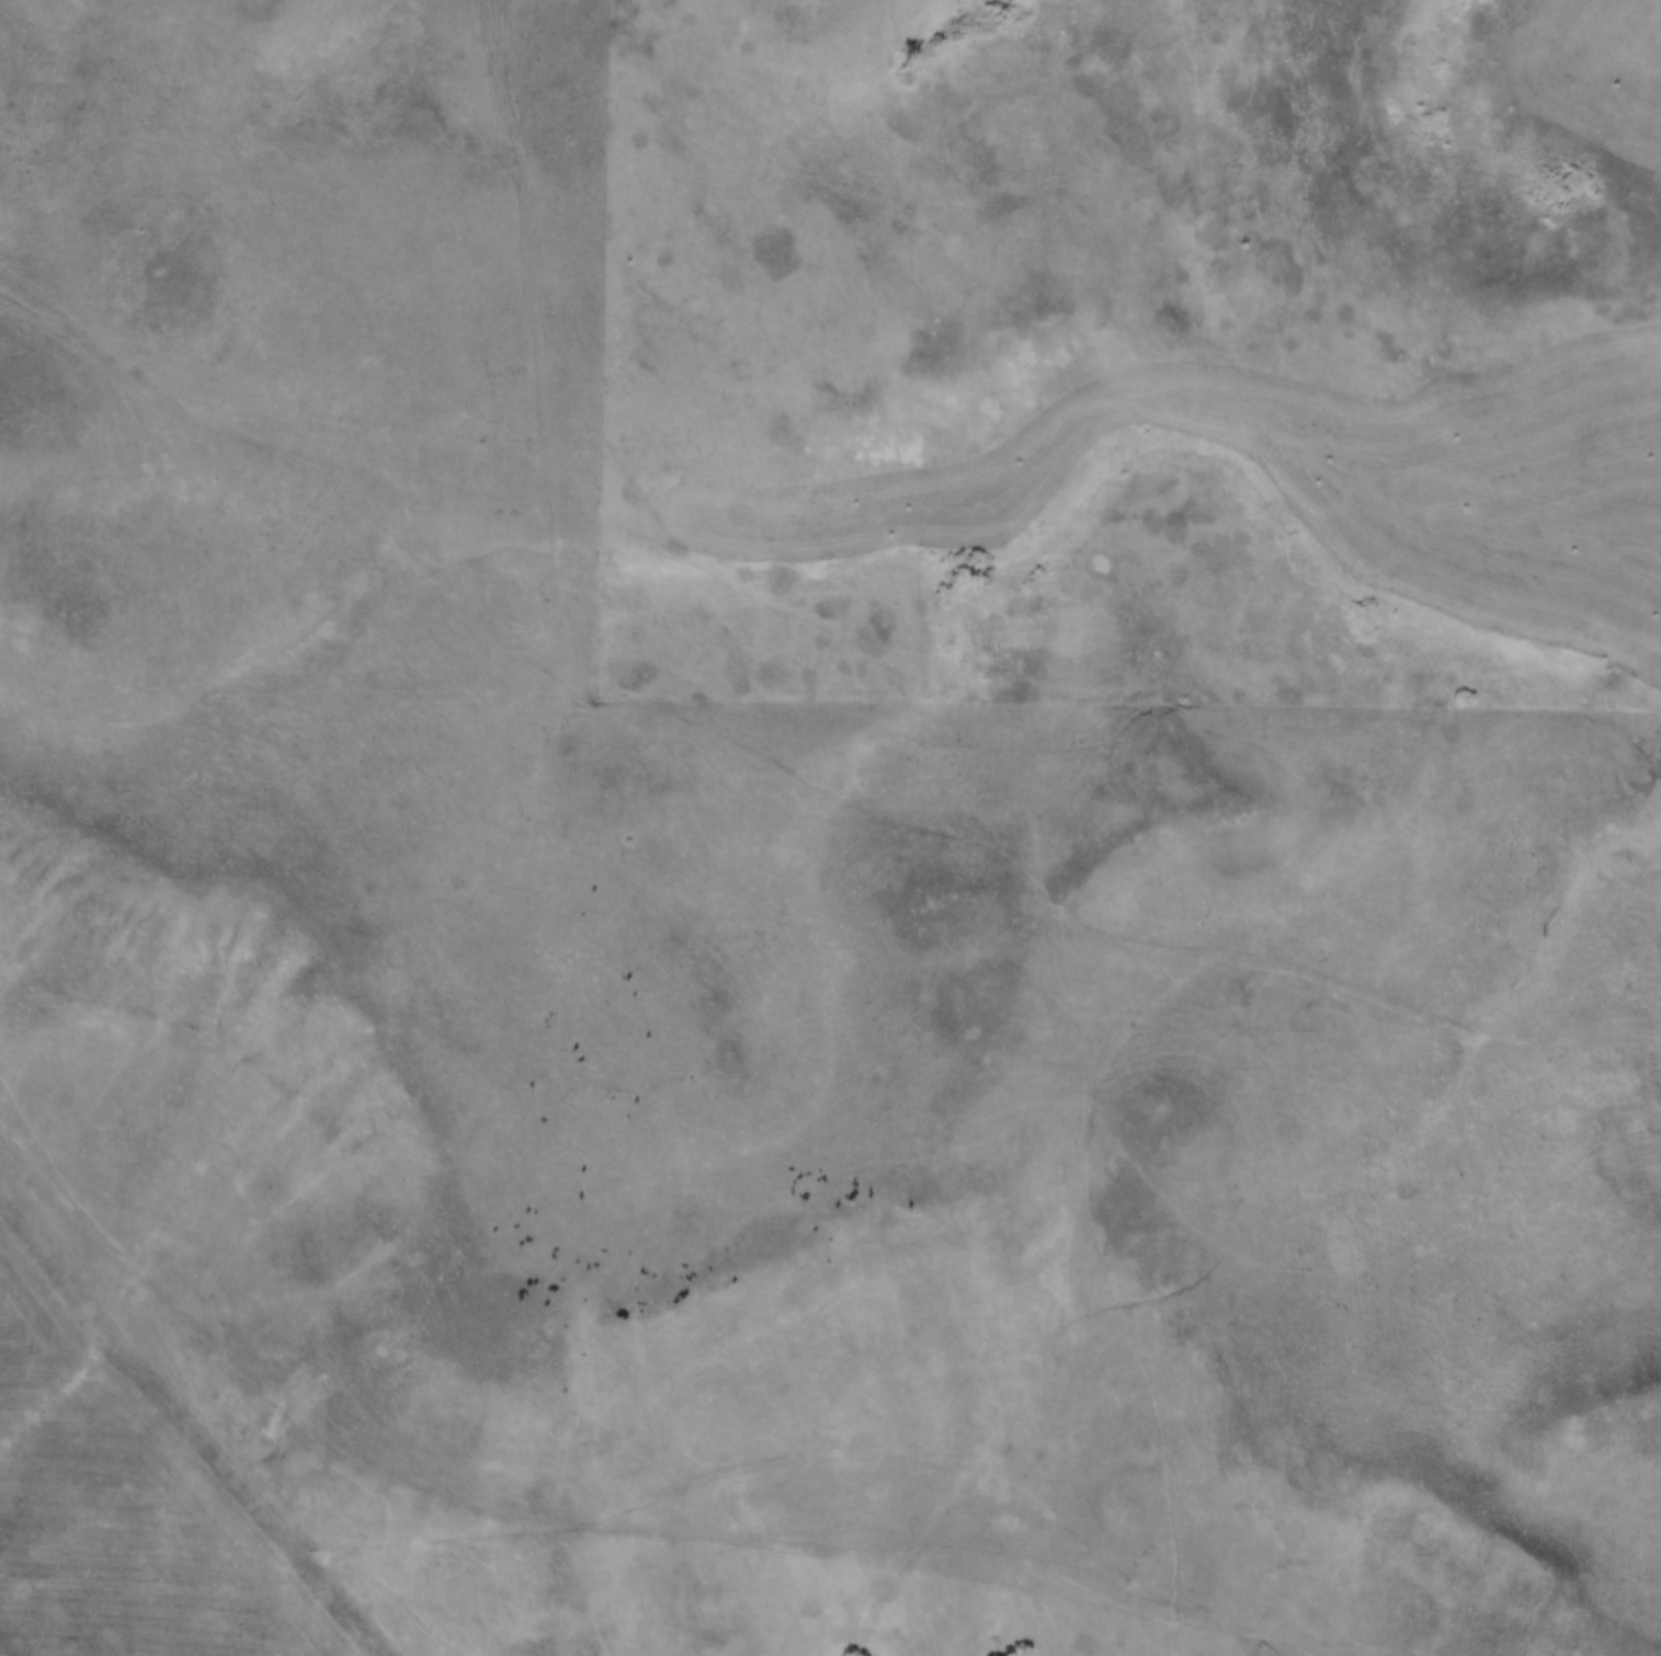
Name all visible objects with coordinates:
road: (578, 683)
road: (1127, 1032)
road: (1634, 1037)
road: (1100, 1314)
road: (635, 1509)

